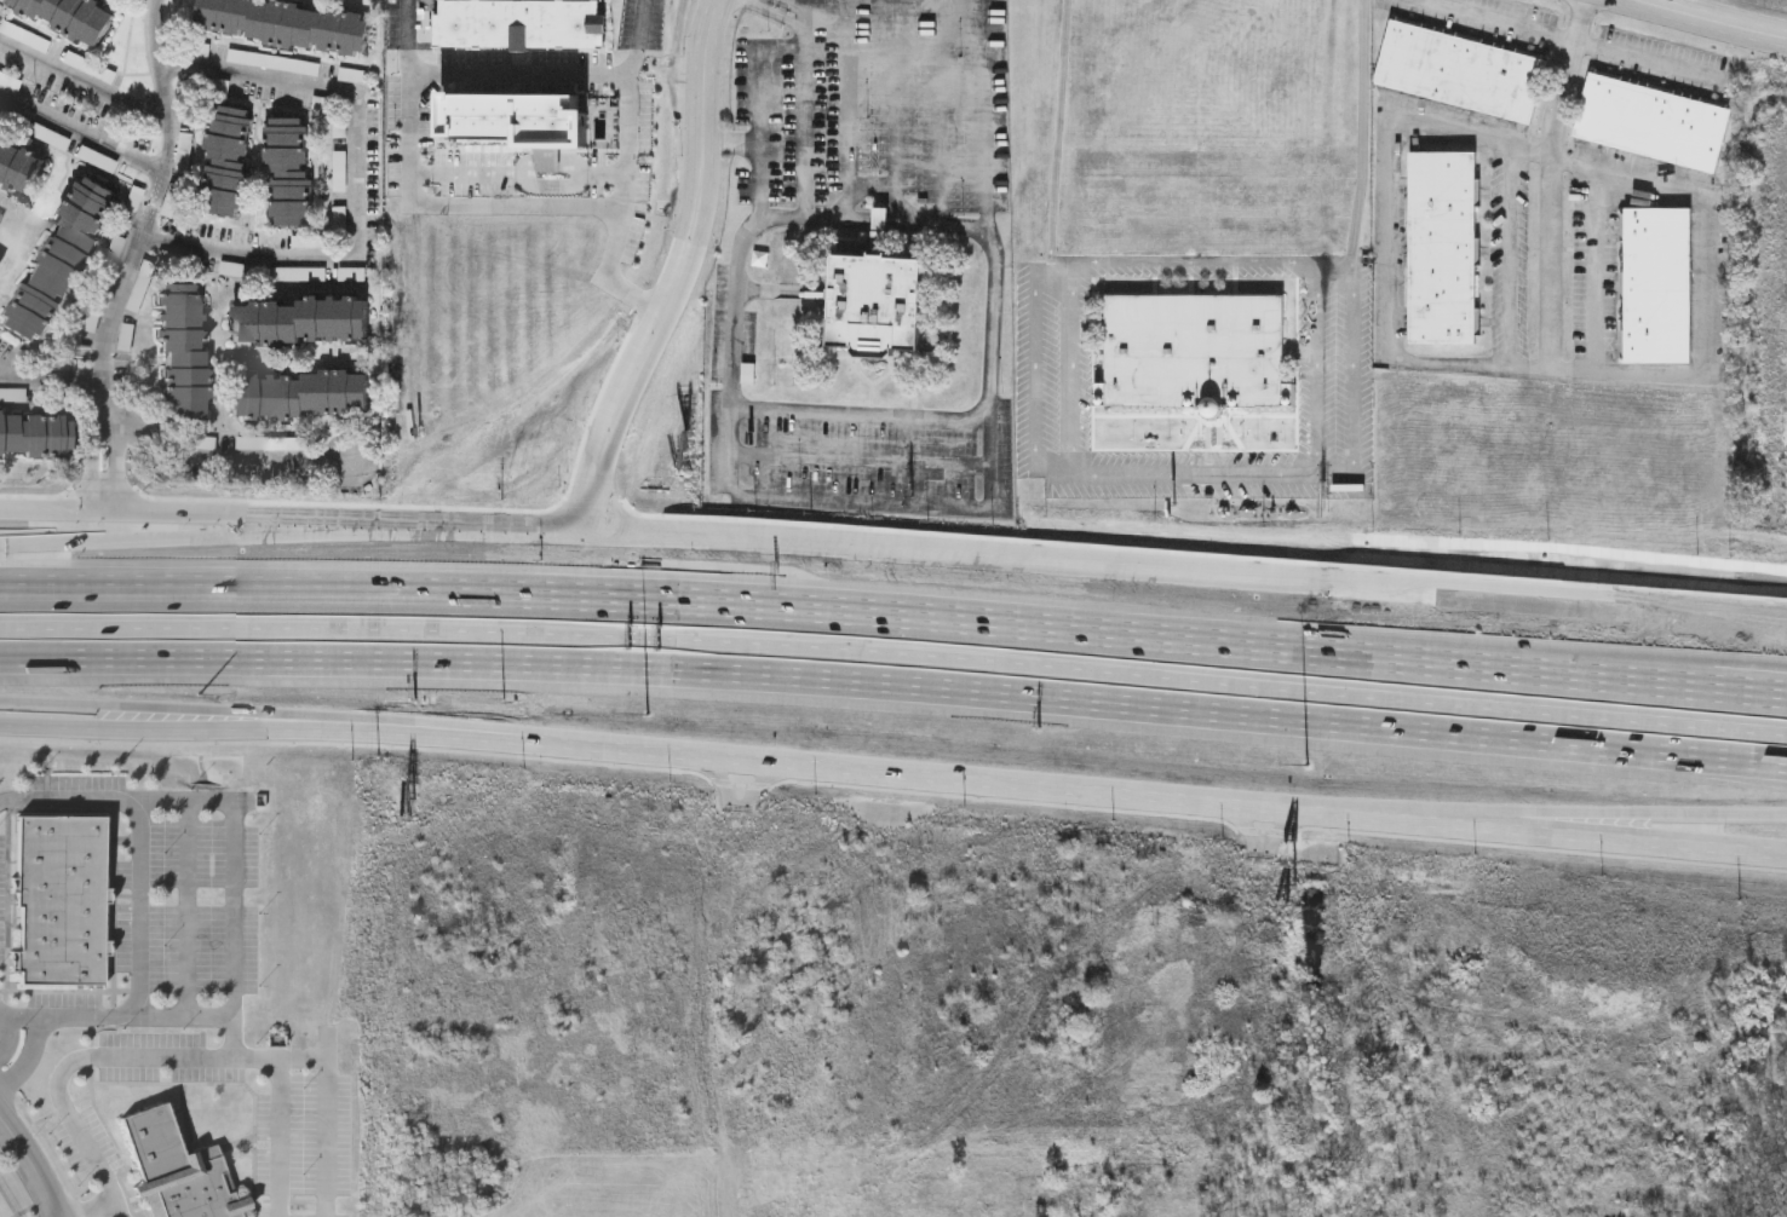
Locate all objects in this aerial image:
road: (794, 4)
road: (772, 12)
building: (68, 17)
road: (1707, 21)
road: (1496, 22)
building: (521, 23)
building: (287, 24)
road: (409, 38)
road: (760, 51)
road: (1648, 62)
building: (1461, 74)
road: (1565, 77)
road: (85, 85)
building: (1653, 125)
road: (81, 138)
building: (524, 140)
road: (626, 140)
road: (730, 144)
building: (226, 161)
road: (703, 161)
building: (18, 166)
road: (410, 166)
building: (289, 172)
road: (360, 190)
road: (155, 196)
road: (817, 218)
road: (881, 221)
road: (937, 226)
road: (1389, 235)
road: (1354, 236)
building: (1444, 249)
road: (1507, 255)
building: (58, 259)
road: (1201, 263)
road: (1597, 269)
building: (1657, 285)
building: (878, 305)
building: (301, 321)
building: (184, 351)
building: (1195, 354)
road: (1071, 365)
road: (1316, 368)
road: (1695, 375)
road: (17, 385)
road: (62, 386)
road: (1038, 390)
building: (300, 396)
road: (107, 408)
road: (611, 416)
road: (932, 419)
building: (35, 437)
road: (214, 458)
road: (857, 458)
road: (97, 472)
road: (115, 472)
road: (863, 502)
road: (48, 515)
road: (229, 521)
road: (476, 526)
road: (180, 536)
road: (1111, 566)
road: (1710, 612)
road: (895, 613)
road: (1708, 624)
road: (895, 652)
road: (895, 685)
road: (186, 713)
road: (186, 734)
road: (556, 746)
road: (978, 781)
road: (1502, 812)
road: (1131, 825)
road: (1263, 827)
road: (1504, 830)
building: (62, 902)
road: (240, 907)
road: (139, 911)
road: (12, 1036)
road: (239, 1039)
road: (28, 1056)
road: (159, 1060)
road: (1579, 1083)
road: (334, 1115)
road: (31, 1170)
building: (177, 1172)
road: (122, 1211)
road: (735, 1212)

